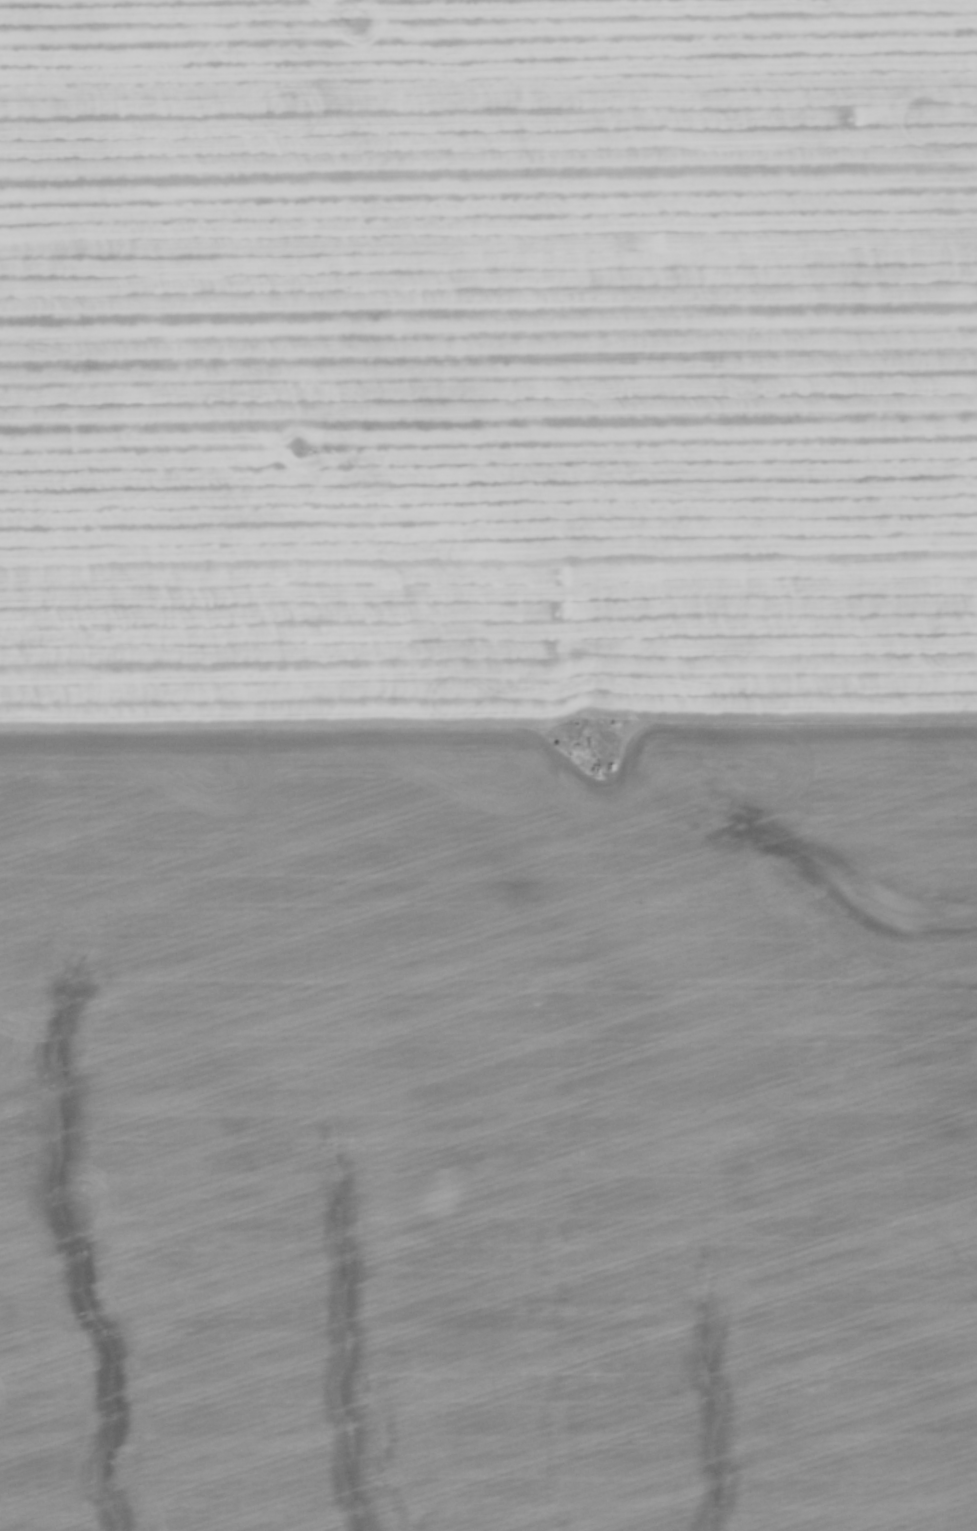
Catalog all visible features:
crop: (488, 765)

